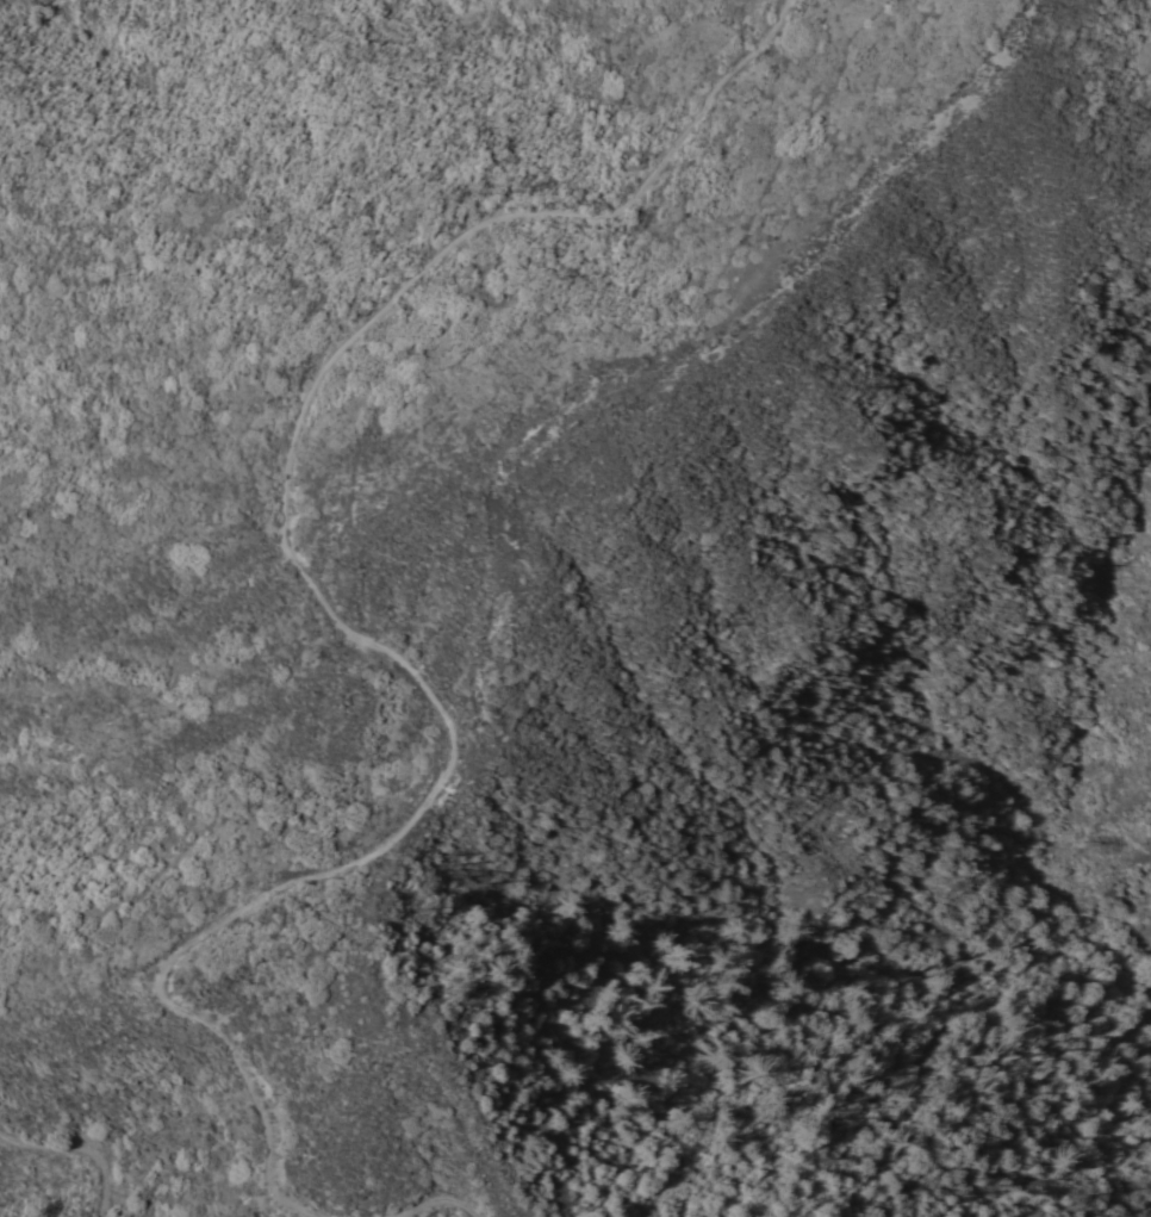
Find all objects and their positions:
road: (342, 628)
road: (98, 1138)
road: (427, 1196)

